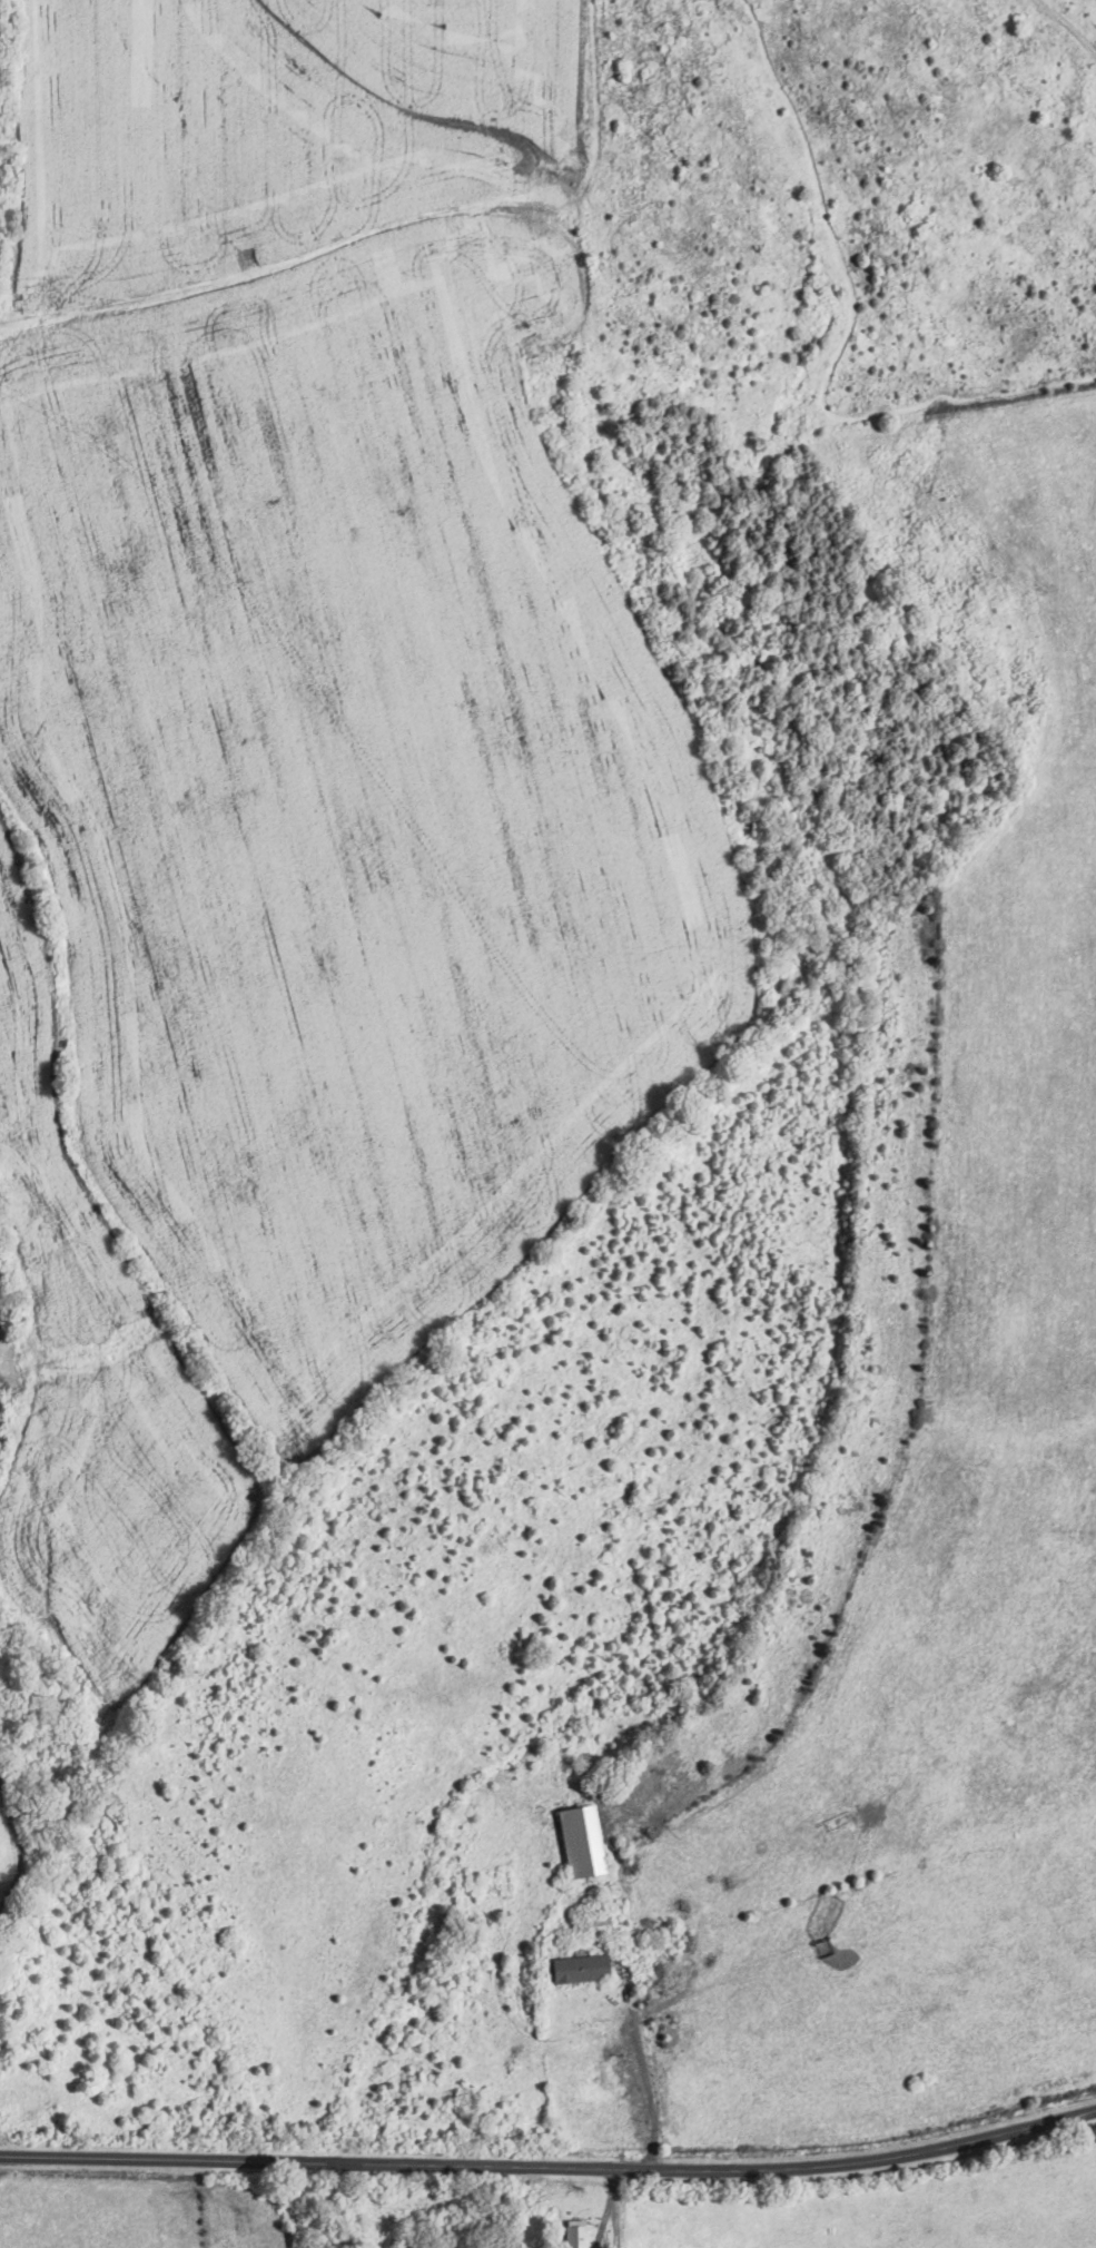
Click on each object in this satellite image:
building: (577, 1842)
building: (594, 1925)
building: (576, 1969)
road: (650, 2074)
road: (551, 2168)
road: (608, 2208)
building: (573, 2236)

